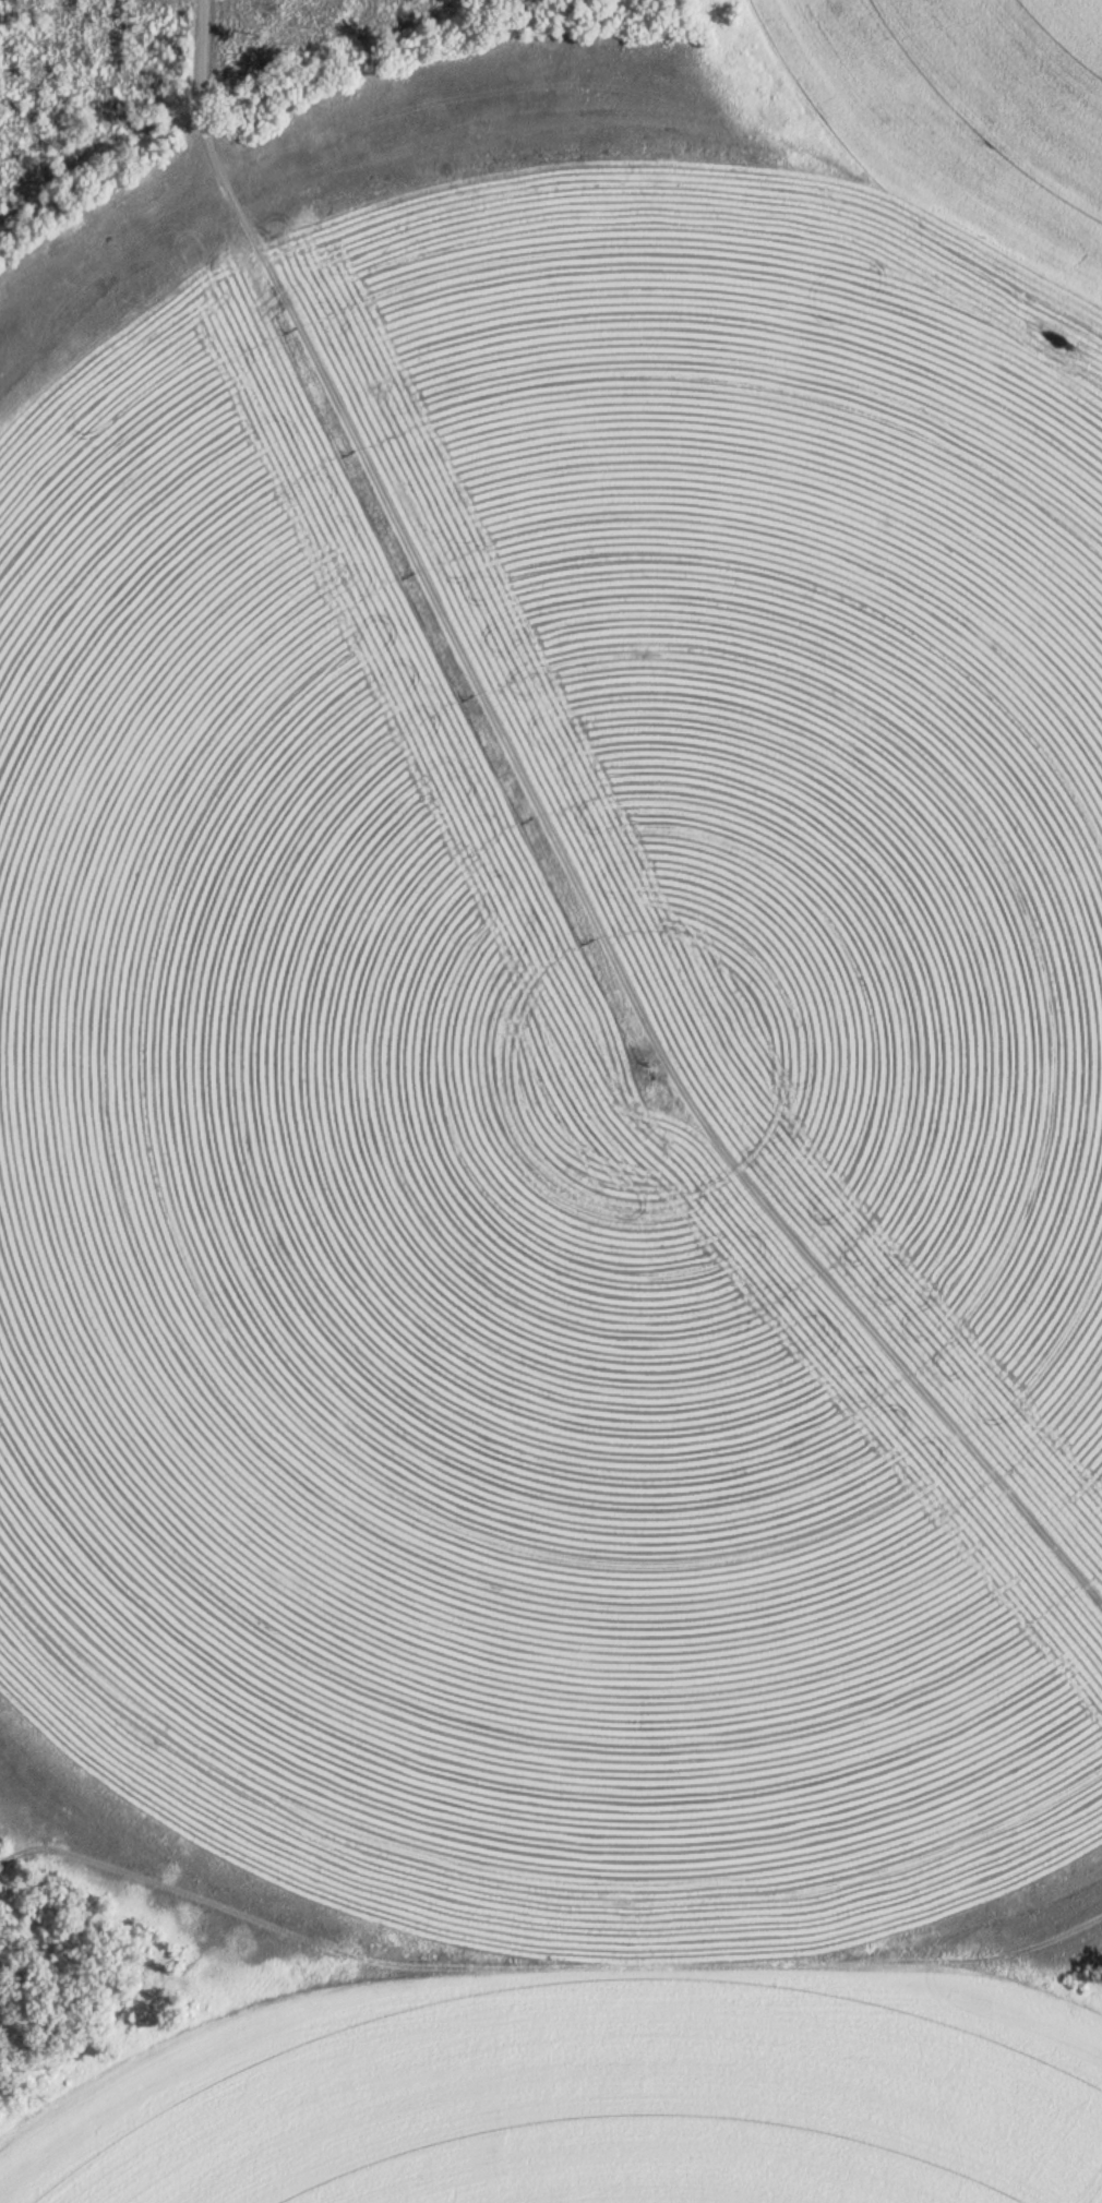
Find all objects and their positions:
wastewater plant: (551, 1101)

